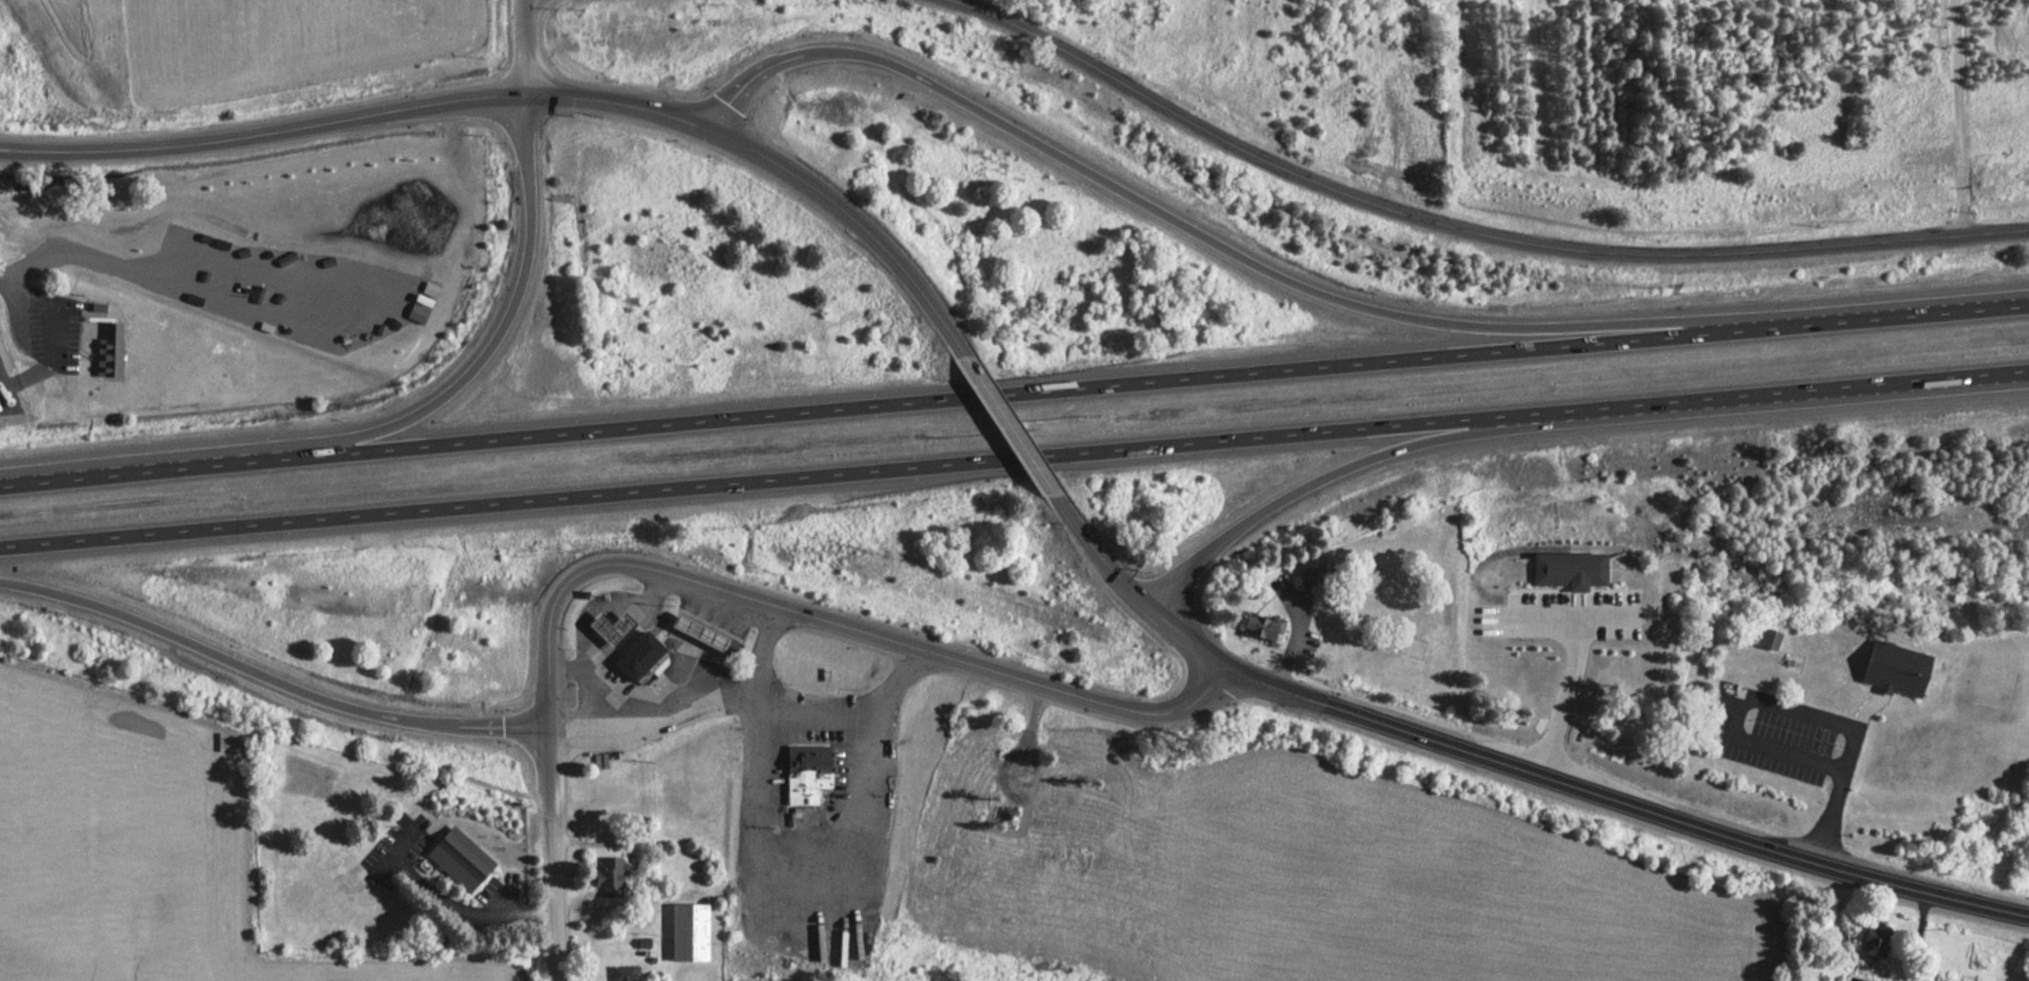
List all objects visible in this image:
crop: (76, 39)
road: (523, 47)
road: (748, 80)
road: (528, 95)
road: (1959, 117)
road: (1470, 232)
road: (1273, 274)
road: (15, 287)
parking lot: (55, 322)
road: (491, 341)
building: (109, 342)
road: (1014, 394)
road: (1012, 427)
road: (1014, 459)
road: (1330, 472)
road: (1099, 557)
building: (1568, 567)
road: (1472, 570)
building: (1311, 576)
road: (1608, 578)
road: (1531, 580)
building: (1576, 584)
road: (1566, 591)
road: (1577, 596)
parking lot: (1566, 614)
road: (1566, 614)
road: (826, 619)
building: (616, 627)
building: (1265, 627)
building: (711, 635)
road: (613, 636)
building: (1770, 639)
road: (200, 645)
road: (703, 649)
building: (643, 656)
building: (1898, 669)
road: (601, 693)
road: (1563, 696)
road: (1786, 709)
road: (650, 713)
road: (801, 715)
road: (471, 725)
parking lot: (1769, 742)
road: (547, 762)
building: (807, 771)
road: (1578, 788)
parking lot: (428, 827)
road: (803, 840)
parking lot: (399, 844)
crop: (138, 849)
road: (388, 857)
building: (462, 858)
building: (610, 873)
road: (632, 873)
parking lot: (500, 886)
road: (555, 890)
crop: (1434, 895)
road: (587, 896)
road: (504, 900)
road: (450, 905)
building: (691, 931)
road: (1919, 934)
building: (1876, 942)
building: (625, 973)

